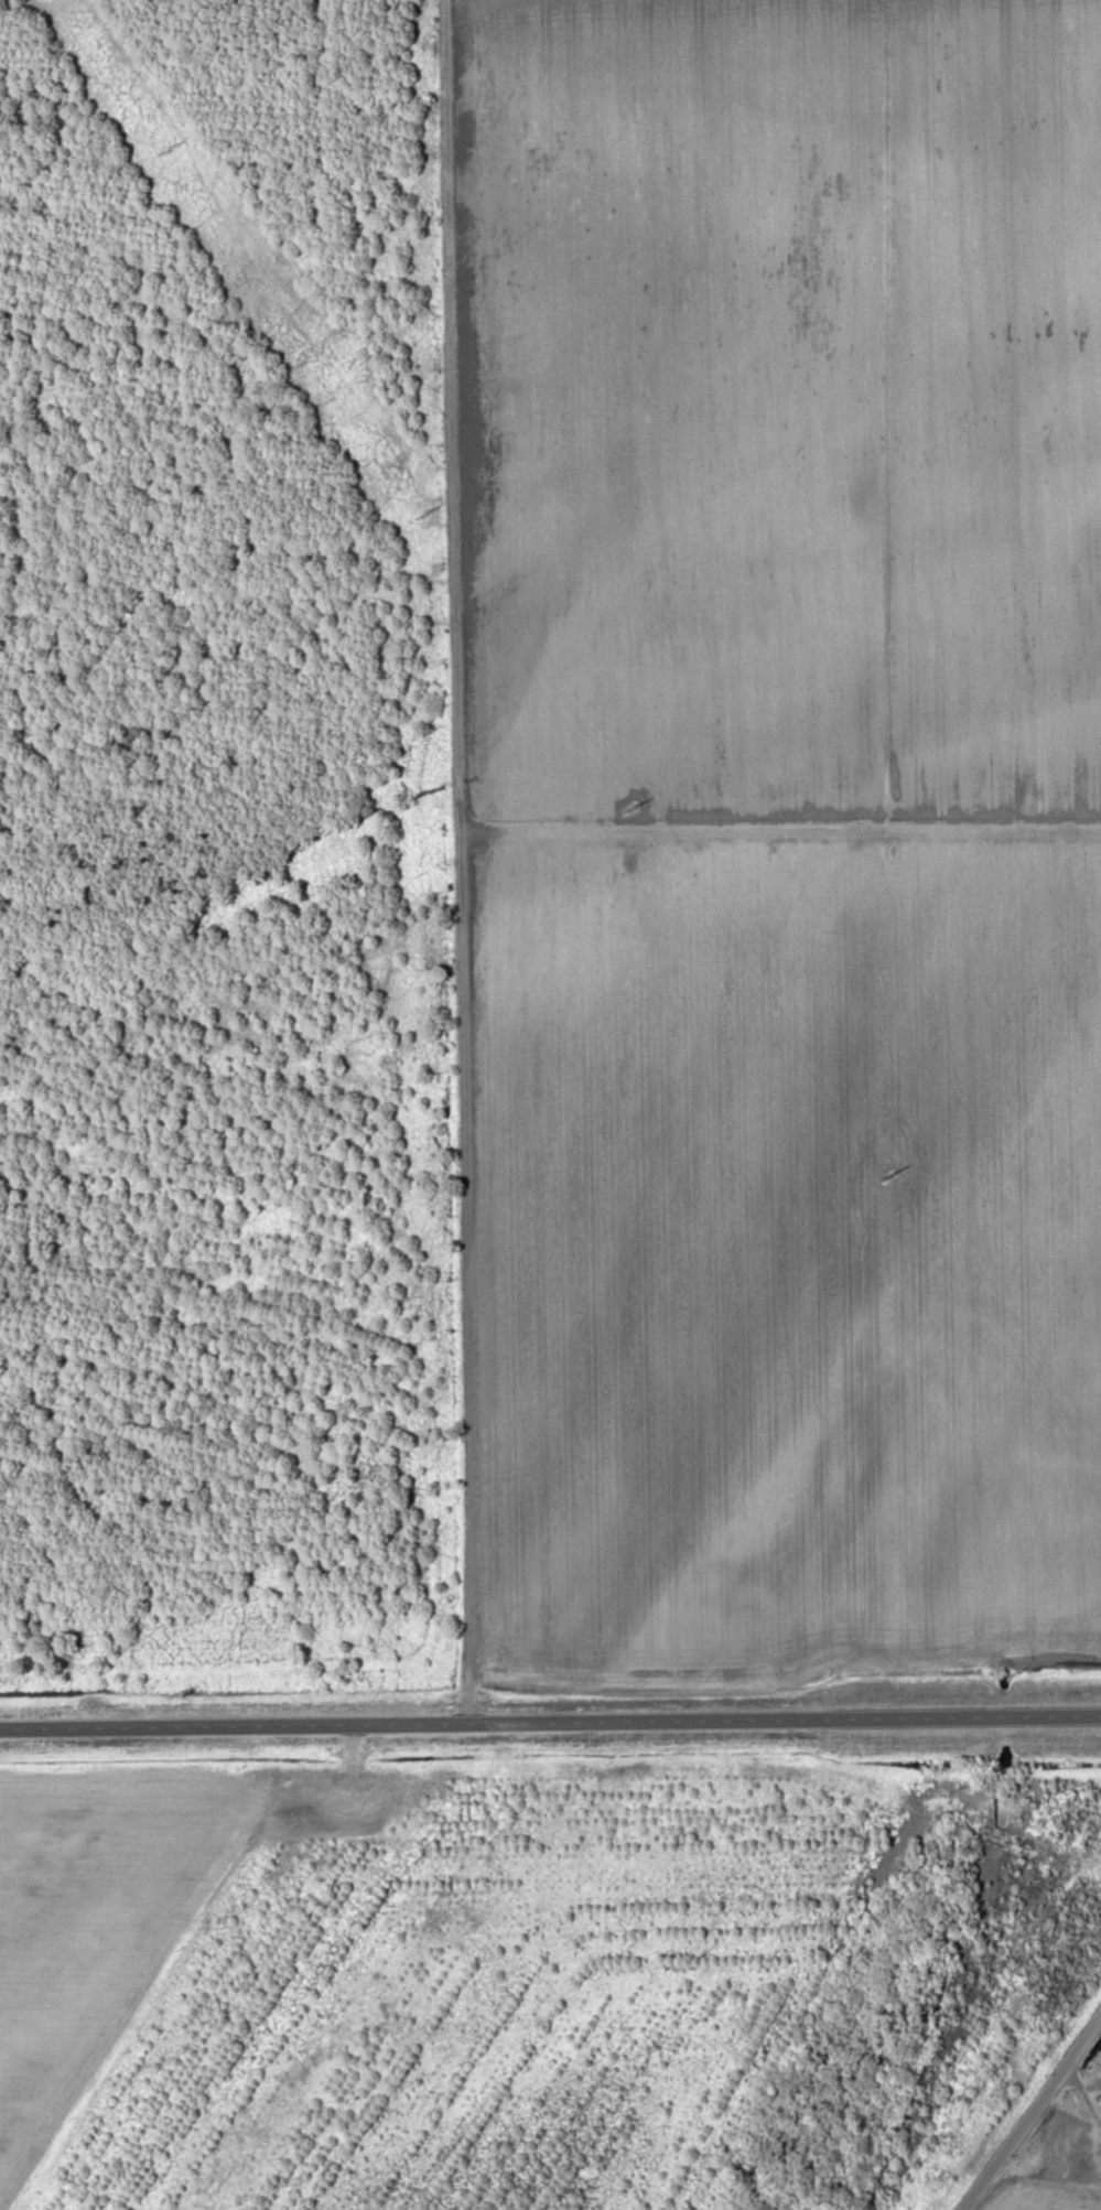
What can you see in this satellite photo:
power tower: (171, 151)
power tower: (427, 516)
power tower: (633, 807)
road: (458, 861)
power tower: (890, 1175)
road: (550, 1721)
road: (1090, 2091)
road: (1030, 2114)
road: (1061, 2171)
building: (1094, 2178)

